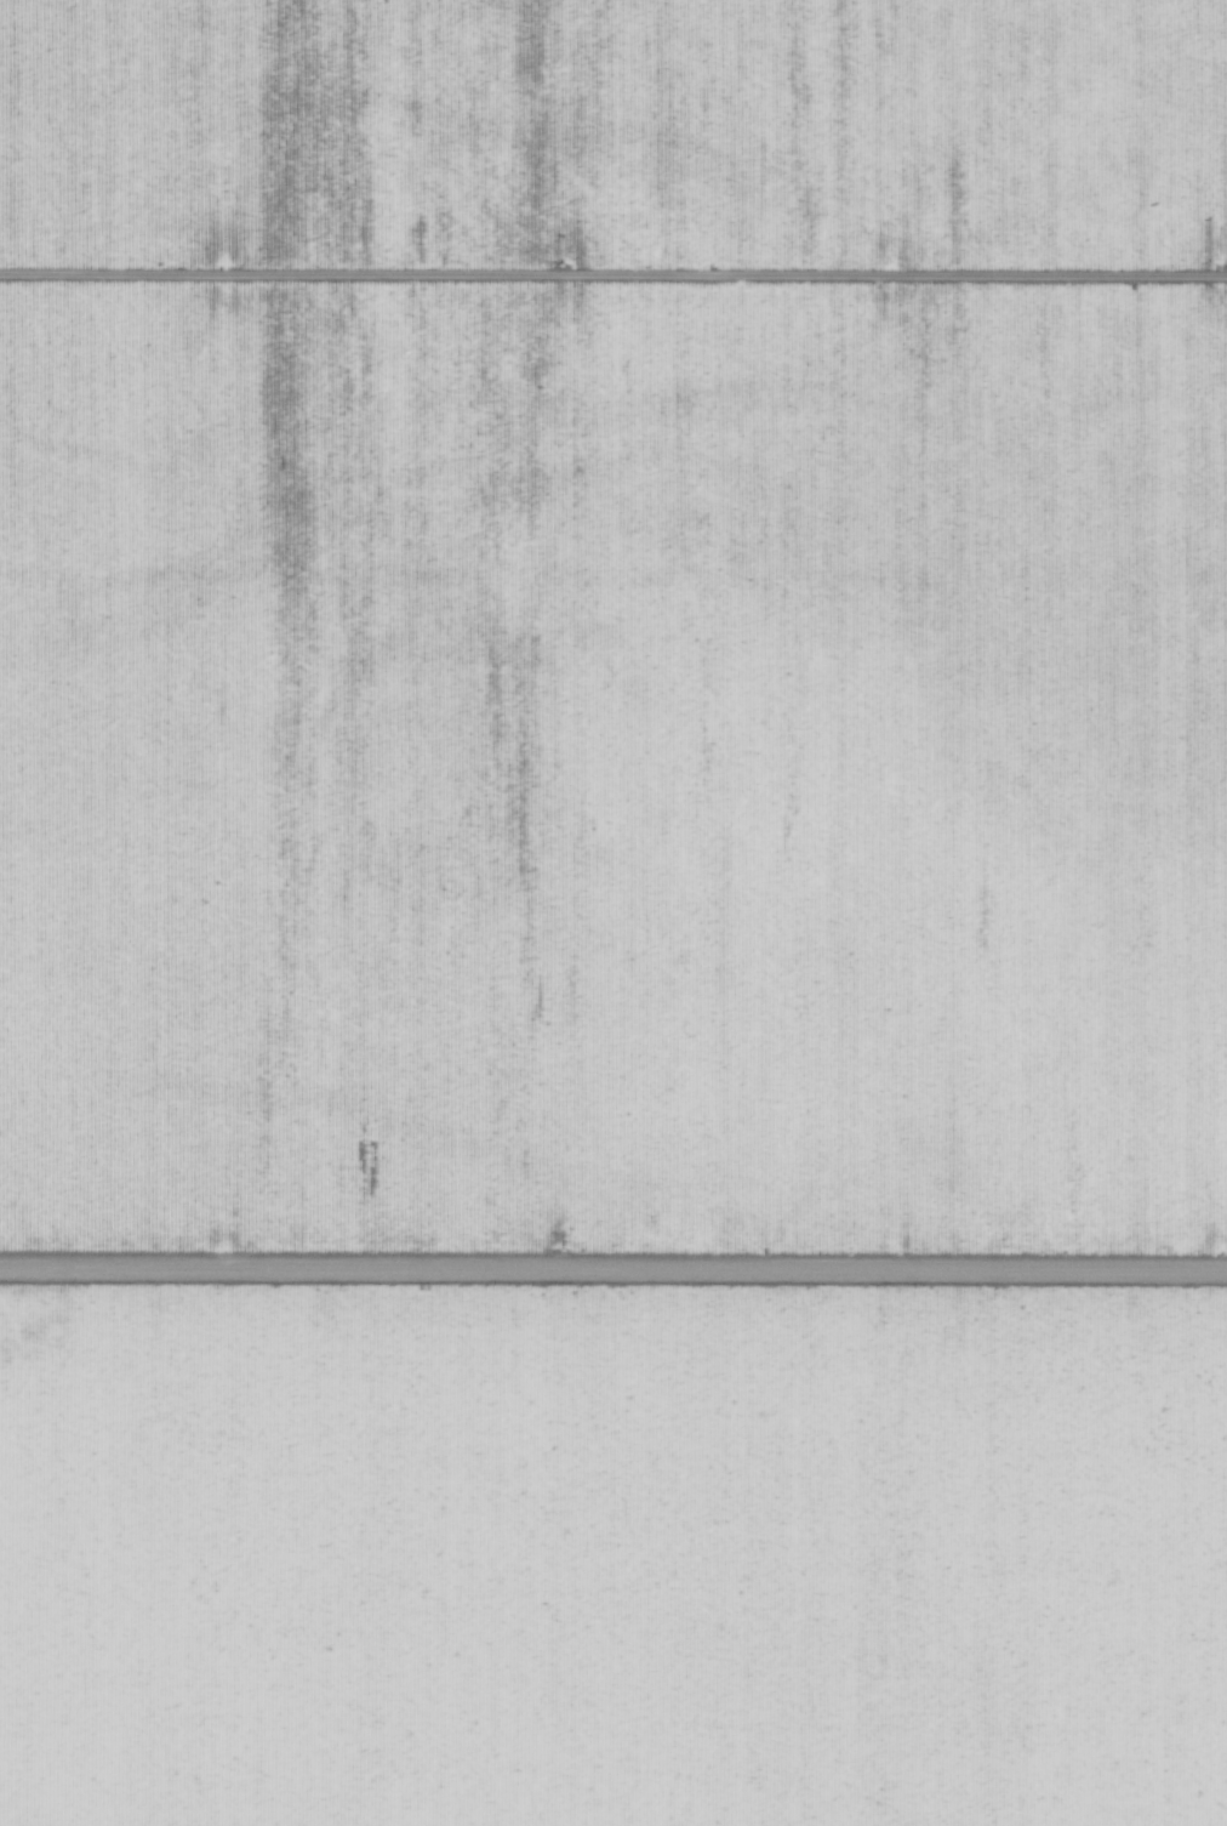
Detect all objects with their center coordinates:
crop: (613, 630)
crop: (609, 1270)
road: (613, 1284)
crop: (612, 1553)

